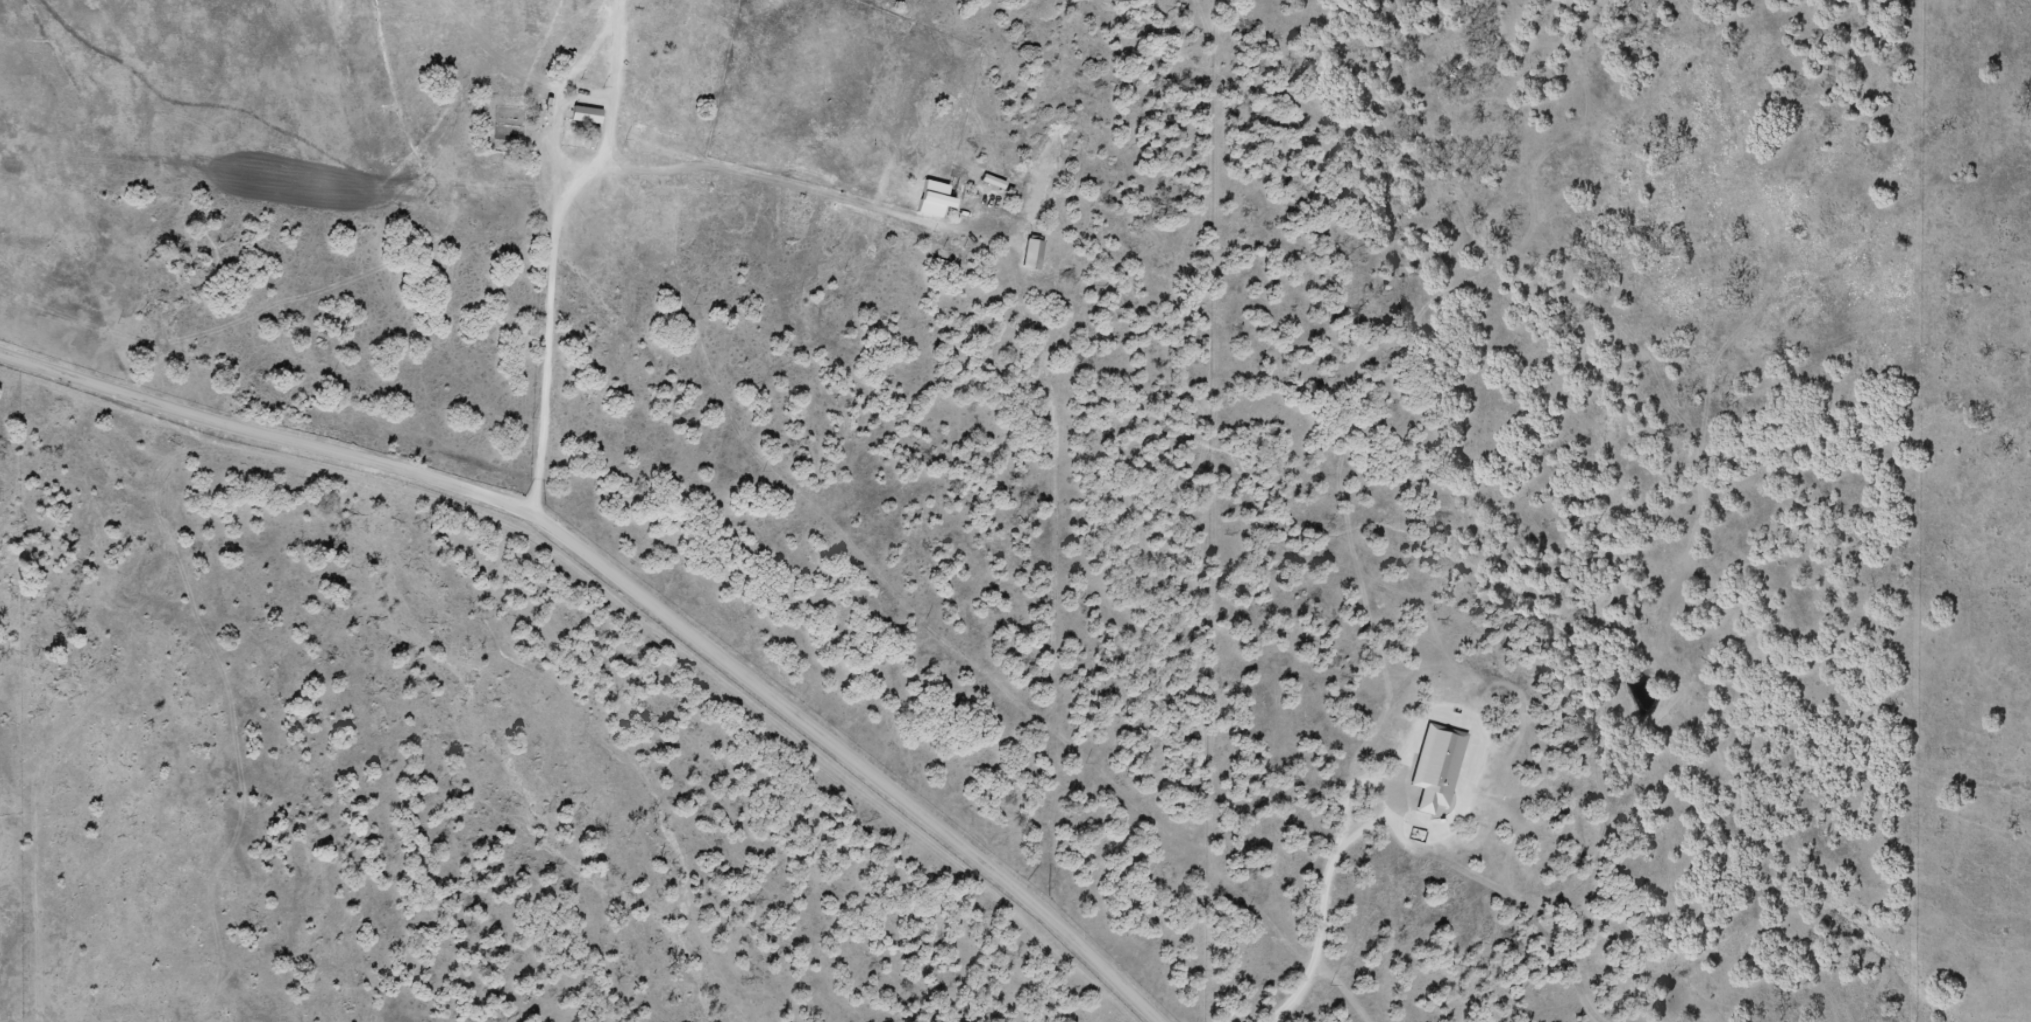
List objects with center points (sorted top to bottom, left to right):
road: (540, 383)
road: (591, 638)

